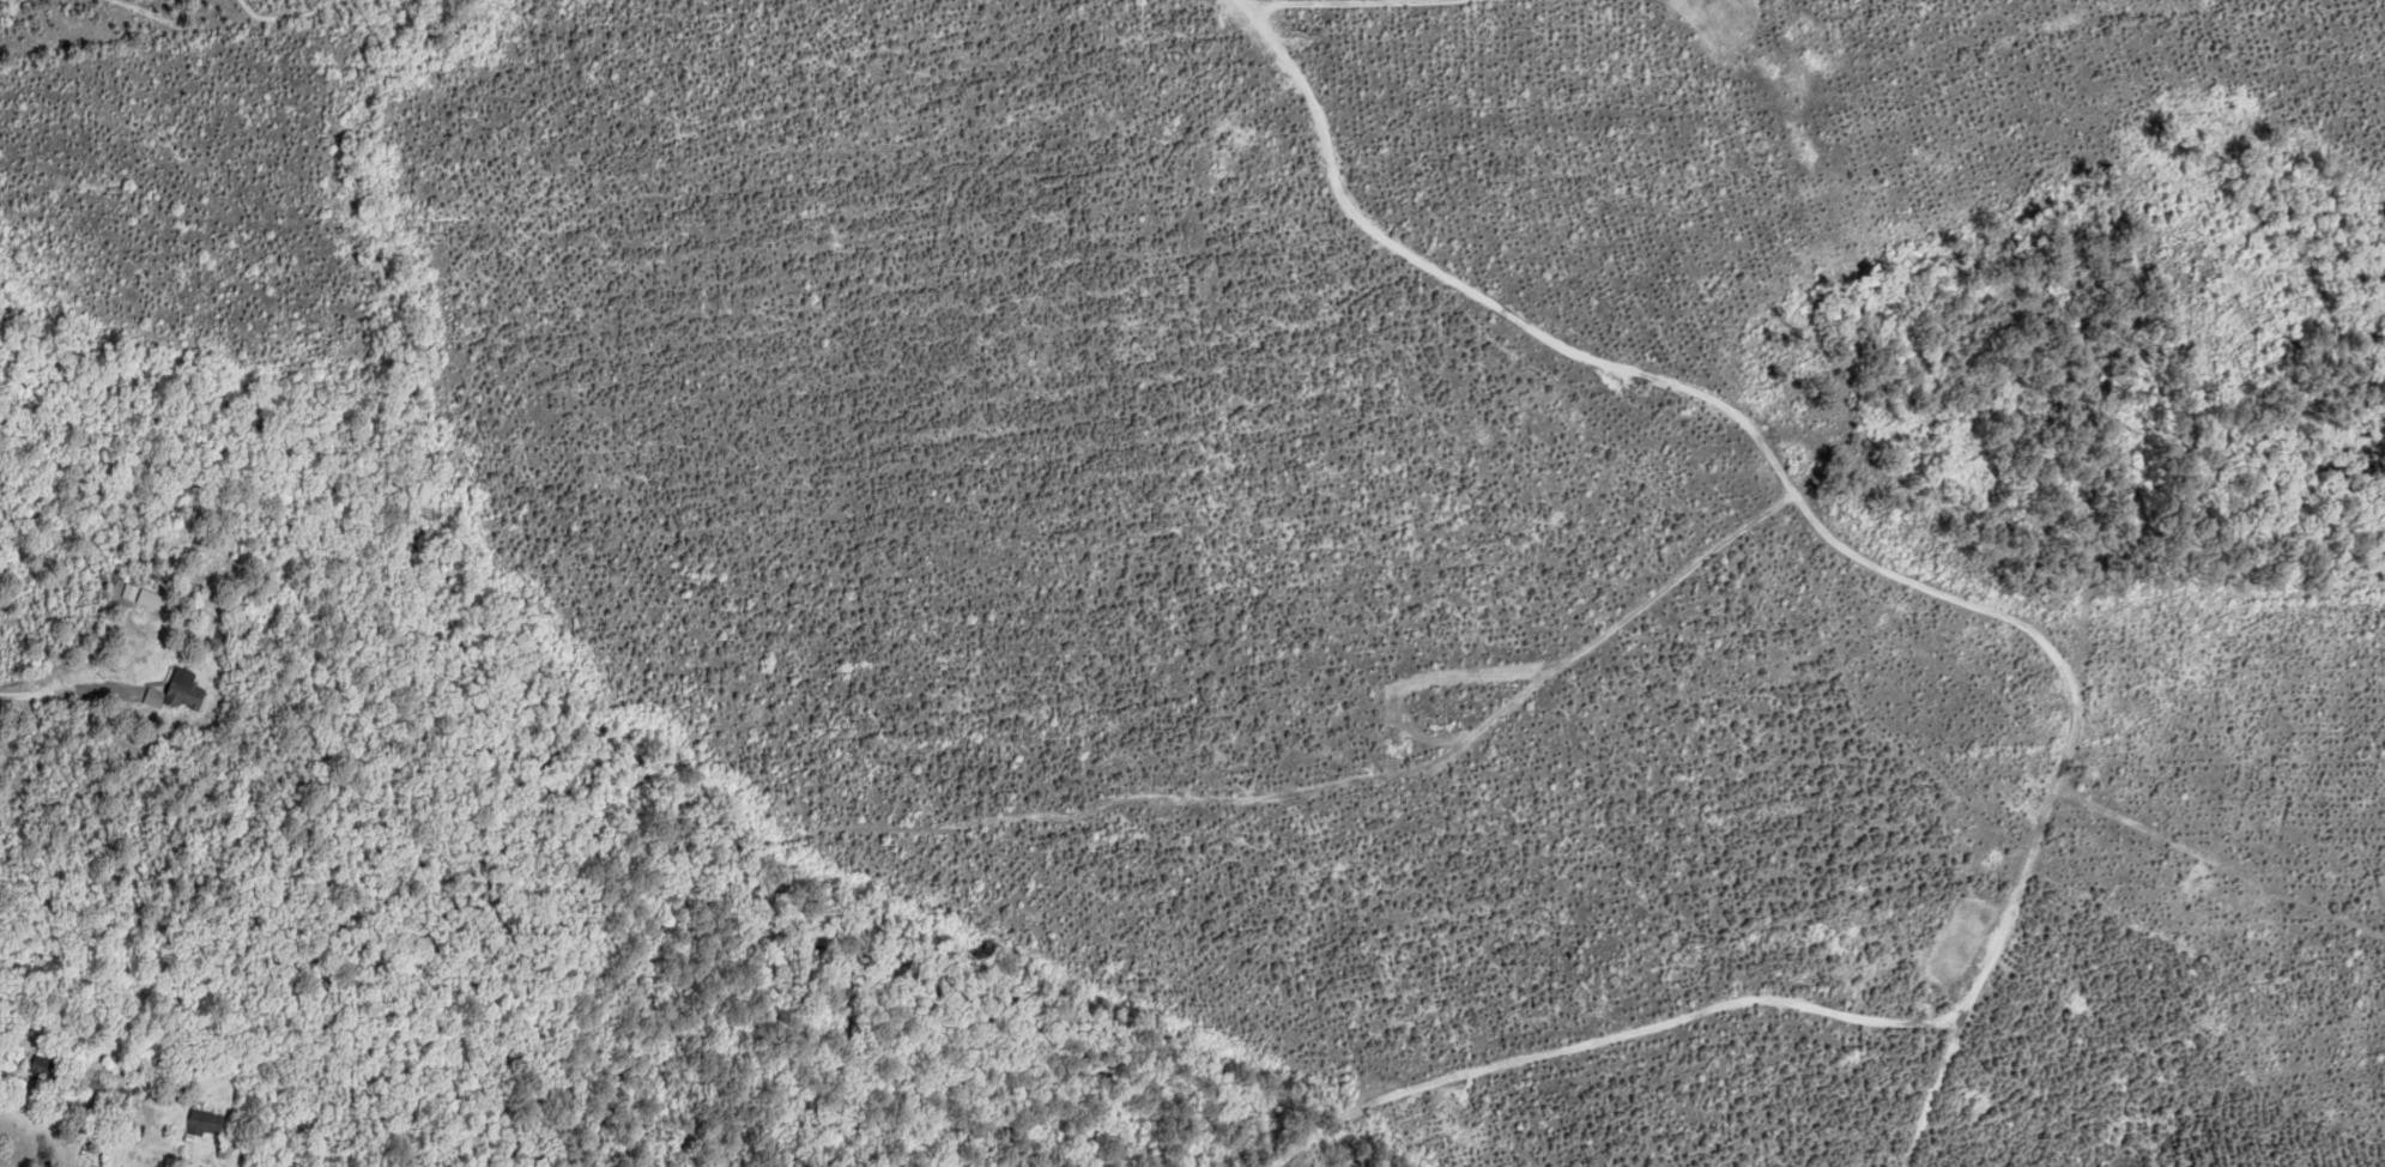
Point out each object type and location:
building: (151, 598)
building: (178, 690)
building: (200, 1124)
road: (65, 1126)

